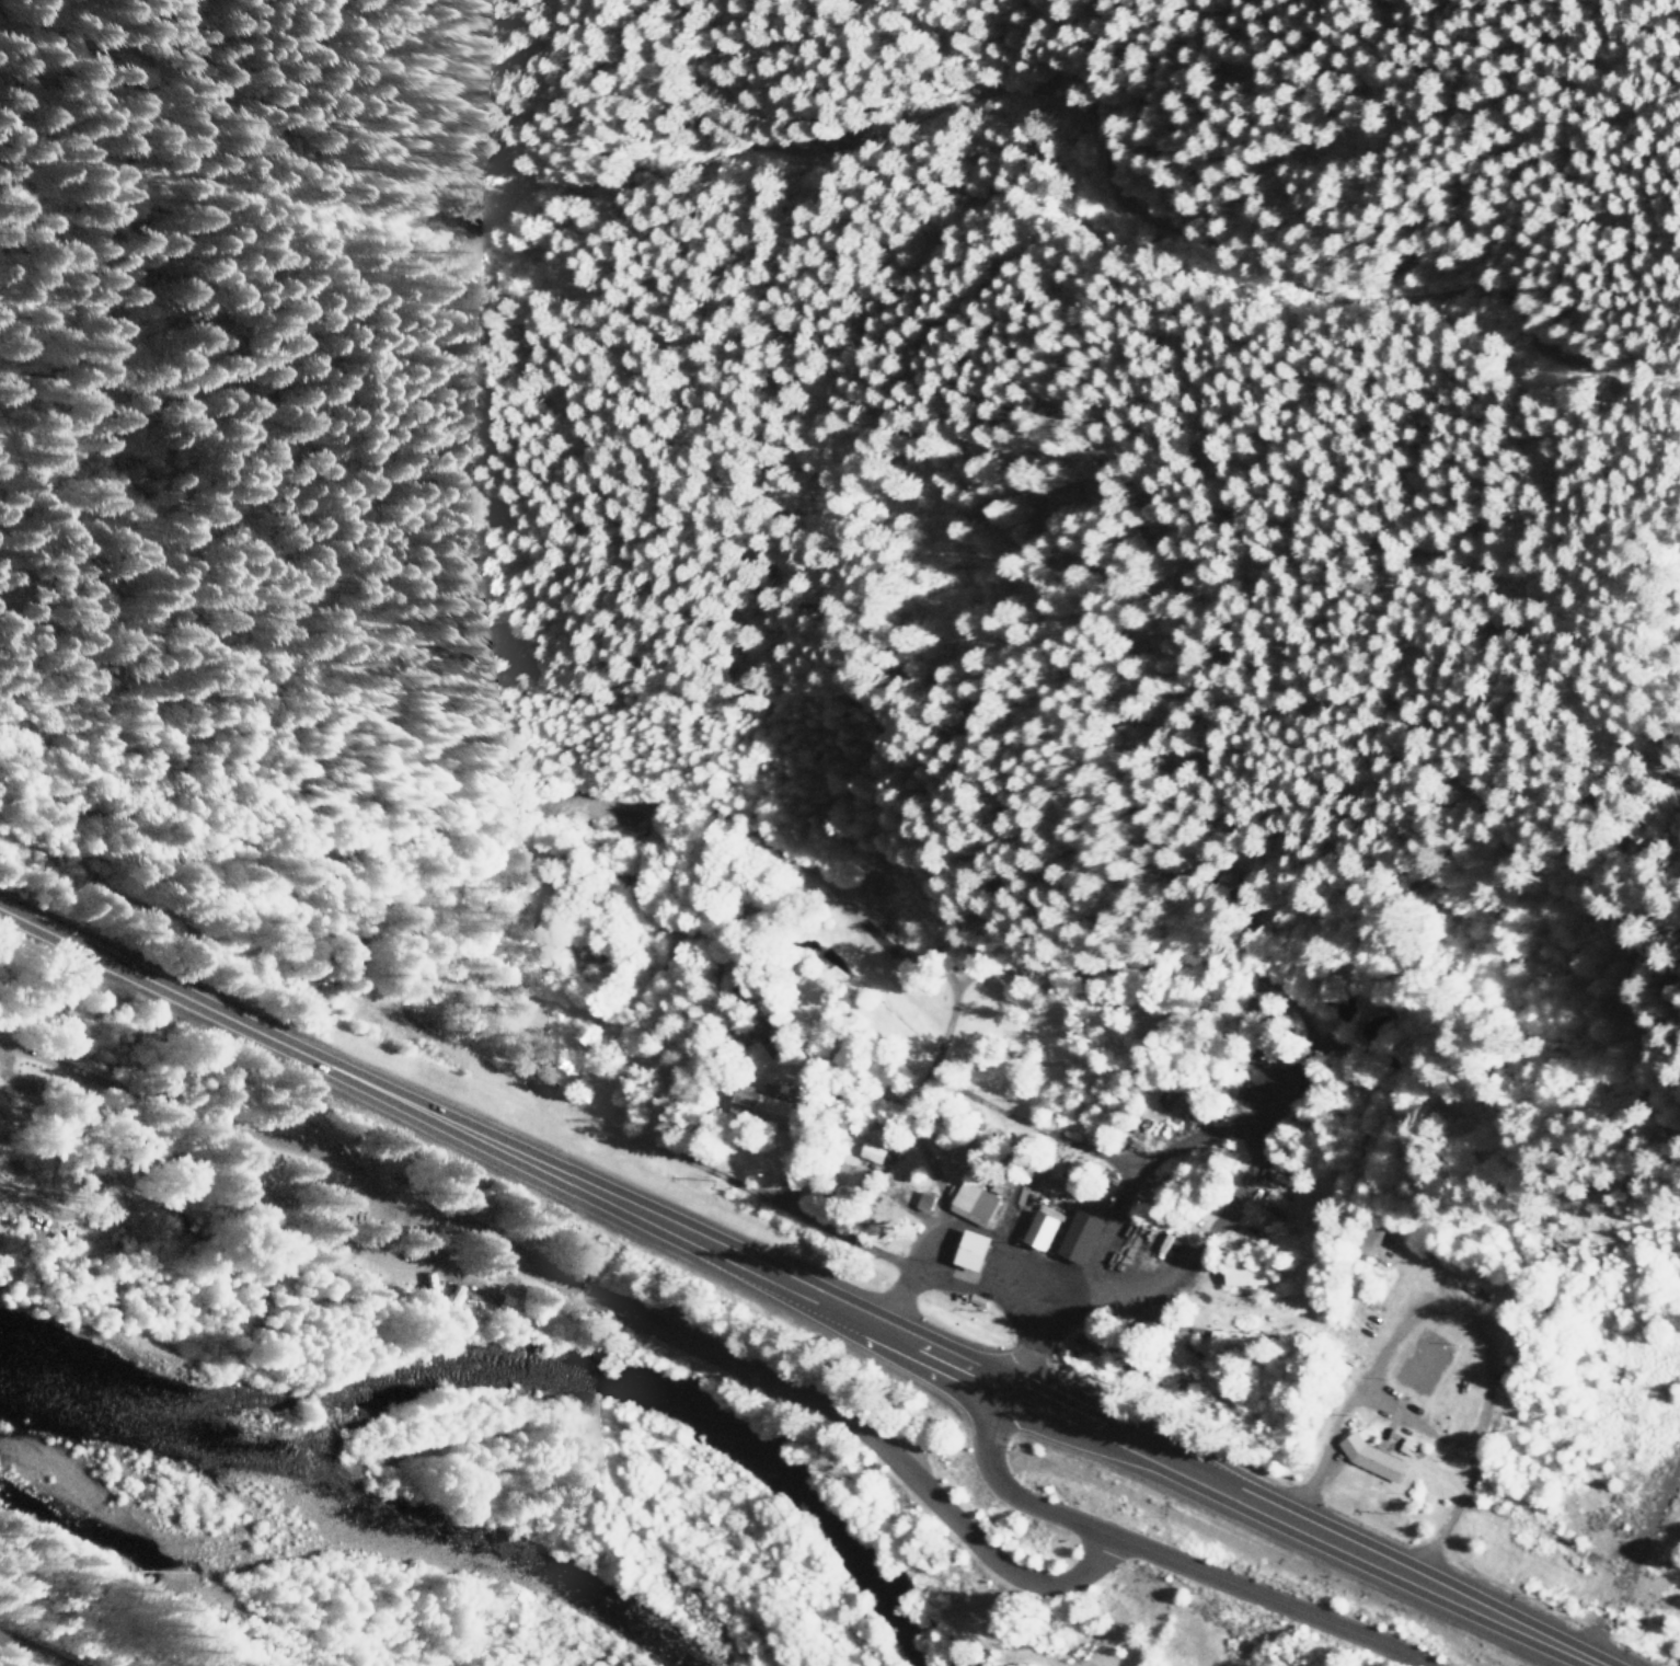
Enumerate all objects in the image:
road: (706, 814)
building: (753, 1029)
building: (757, 1107)
building: (868, 1152)
building: (1270, 1202)
building: (970, 1203)
road: (125, 1209)
building: (1035, 1230)
building: (1074, 1237)
building: (966, 1250)
road: (1182, 1267)
building: (1244, 1275)
road: (793, 1288)
road: (579, 1294)
road: (1397, 1320)
building: (1229, 1341)
river: (663, 1408)
building: (1368, 1458)
road: (1316, 1459)
river: (344, 1506)
road: (1442, 1521)
road: (1627, 1550)
road: (1153, 1558)
road: (26, 1652)

